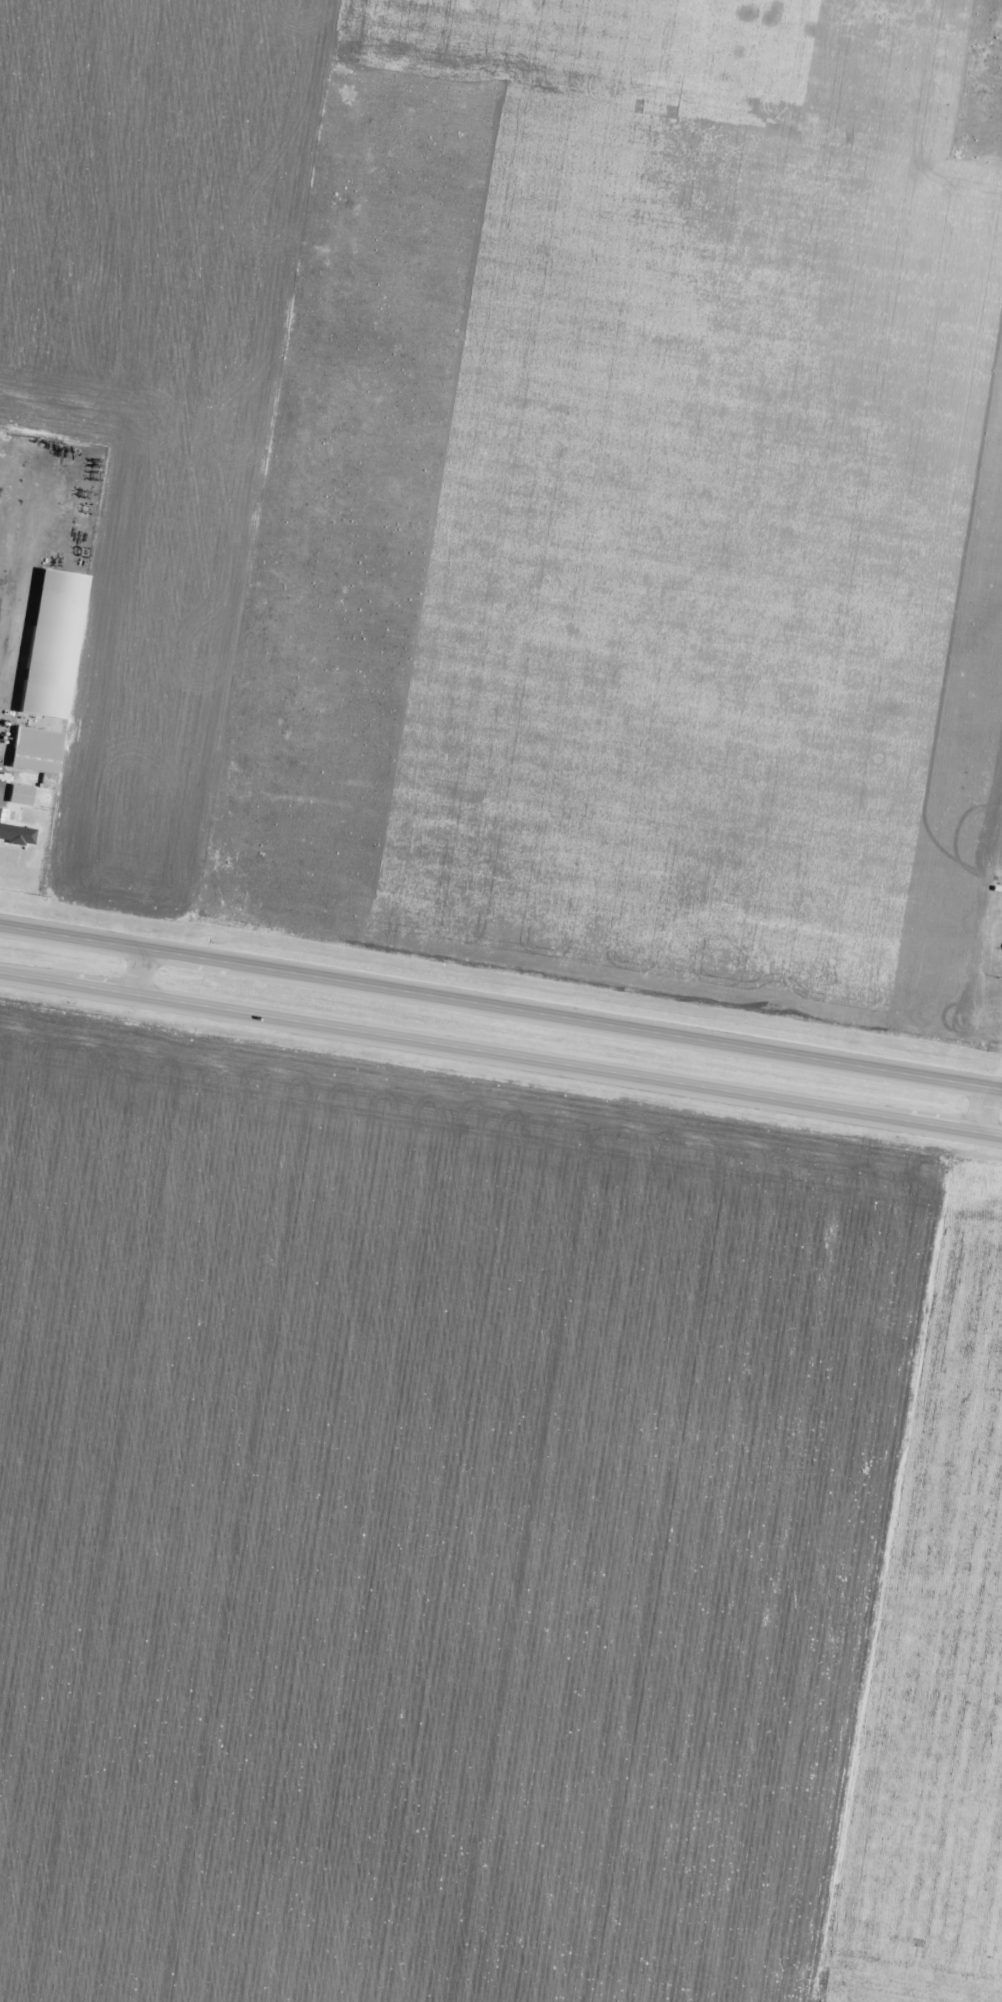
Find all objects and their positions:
building: (44, 707)
building: (22, 795)
building: (15, 832)
road: (137, 971)
road: (500, 1007)
road: (501, 1054)
road: (981, 1109)

